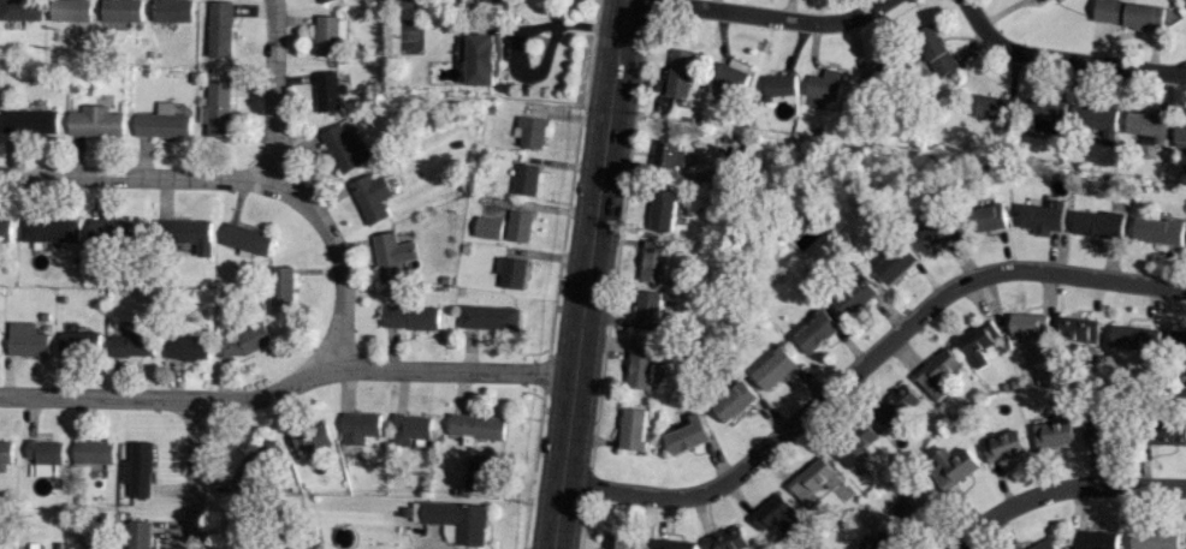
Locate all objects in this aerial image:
building: (324, 1)
building: (496, 1)
building: (405, 2)
building: (19, 10)
building: (70, 10)
building: (120, 10)
building: (171, 11)
building: (1132, 13)
road: (766, 17)
building: (219, 29)
building: (328, 34)
road: (521, 37)
building: (935, 53)
building: (479, 59)
road: (1063, 59)
building: (678, 73)
building: (879, 74)
building: (731, 76)
building: (825, 84)
building: (779, 88)
building: (327, 90)
building: (991, 107)
building: (218, 108)
building: (1046, 113)
building: (1099, 120)
building: (28, 121)
building: (94, 121)
building: (161, 123)
building: (1148, 124)
building: (530, 131)
building: (1181, 133)
building: (345, 148)
building: (668, 154)
road: (138, 177)
building: (526, 179)
road: (289, 190)
building: (370, 197)
building: (663, 209)
building: (1046, 214)
building: (989, 217)
building: (1102, 223)
building: (520, 226)
building: (487, 227)
building: (48, 229)
building: (117, 229)
building: (1160, 231)
building: (186, 233)
building: (939, 235)
building: (247, 239)
building: (389, 257)
building: (656, 261)
building: (899, 263)
building: (511, 271)
road: (586, 274)
building: (281, 291)
building: (856, 294)
building: (647, 309)
building: (411, 315)
building: (491, 317)
building: (1030, 324)
building: (1079, 329)
building: (817, 330)
building: (1134, 339)
building: (25, 340)
building: (242, 340)
building: (980, 341)
building: (75, 342)
building: (1176, 342)
building: (130, 345)
building: (188, 347)
road: (865, 364)
building: (641, 366)
building: (775, 366)
building: (937, 372)
road: (287, 387)
building: (735, 400)
building: (895, 405)
building: (476, 425)
building: (361, 426)
building: (633, 428)
building: (411, 429)
building: (1095, 431)
building: (687, 434)
building: (1052, 434)
building: (313, 437)
building: (1168, 437)
building: (854, 443)
building: (1003, 446)
building: (6, 450)
building: (93, 452)
building: (43, 455)
building: (255, 464)
building: (953, 467)
building: (138, 470)
road: (192, 473)
building: (482, 475)
building: (811, 478)
road: (1061, 489)
building: (915, 507)
building: (775, 513)
building: (453, 520)
building: (138, 535)
building: (1152, 538)
building: (728, 539)
building: (1095, 539)
building: (617, 541)
building: (883, 541)
building: (675, 544)
building: (1042, 544)
building: (34, 545)
building: (85, 548)

